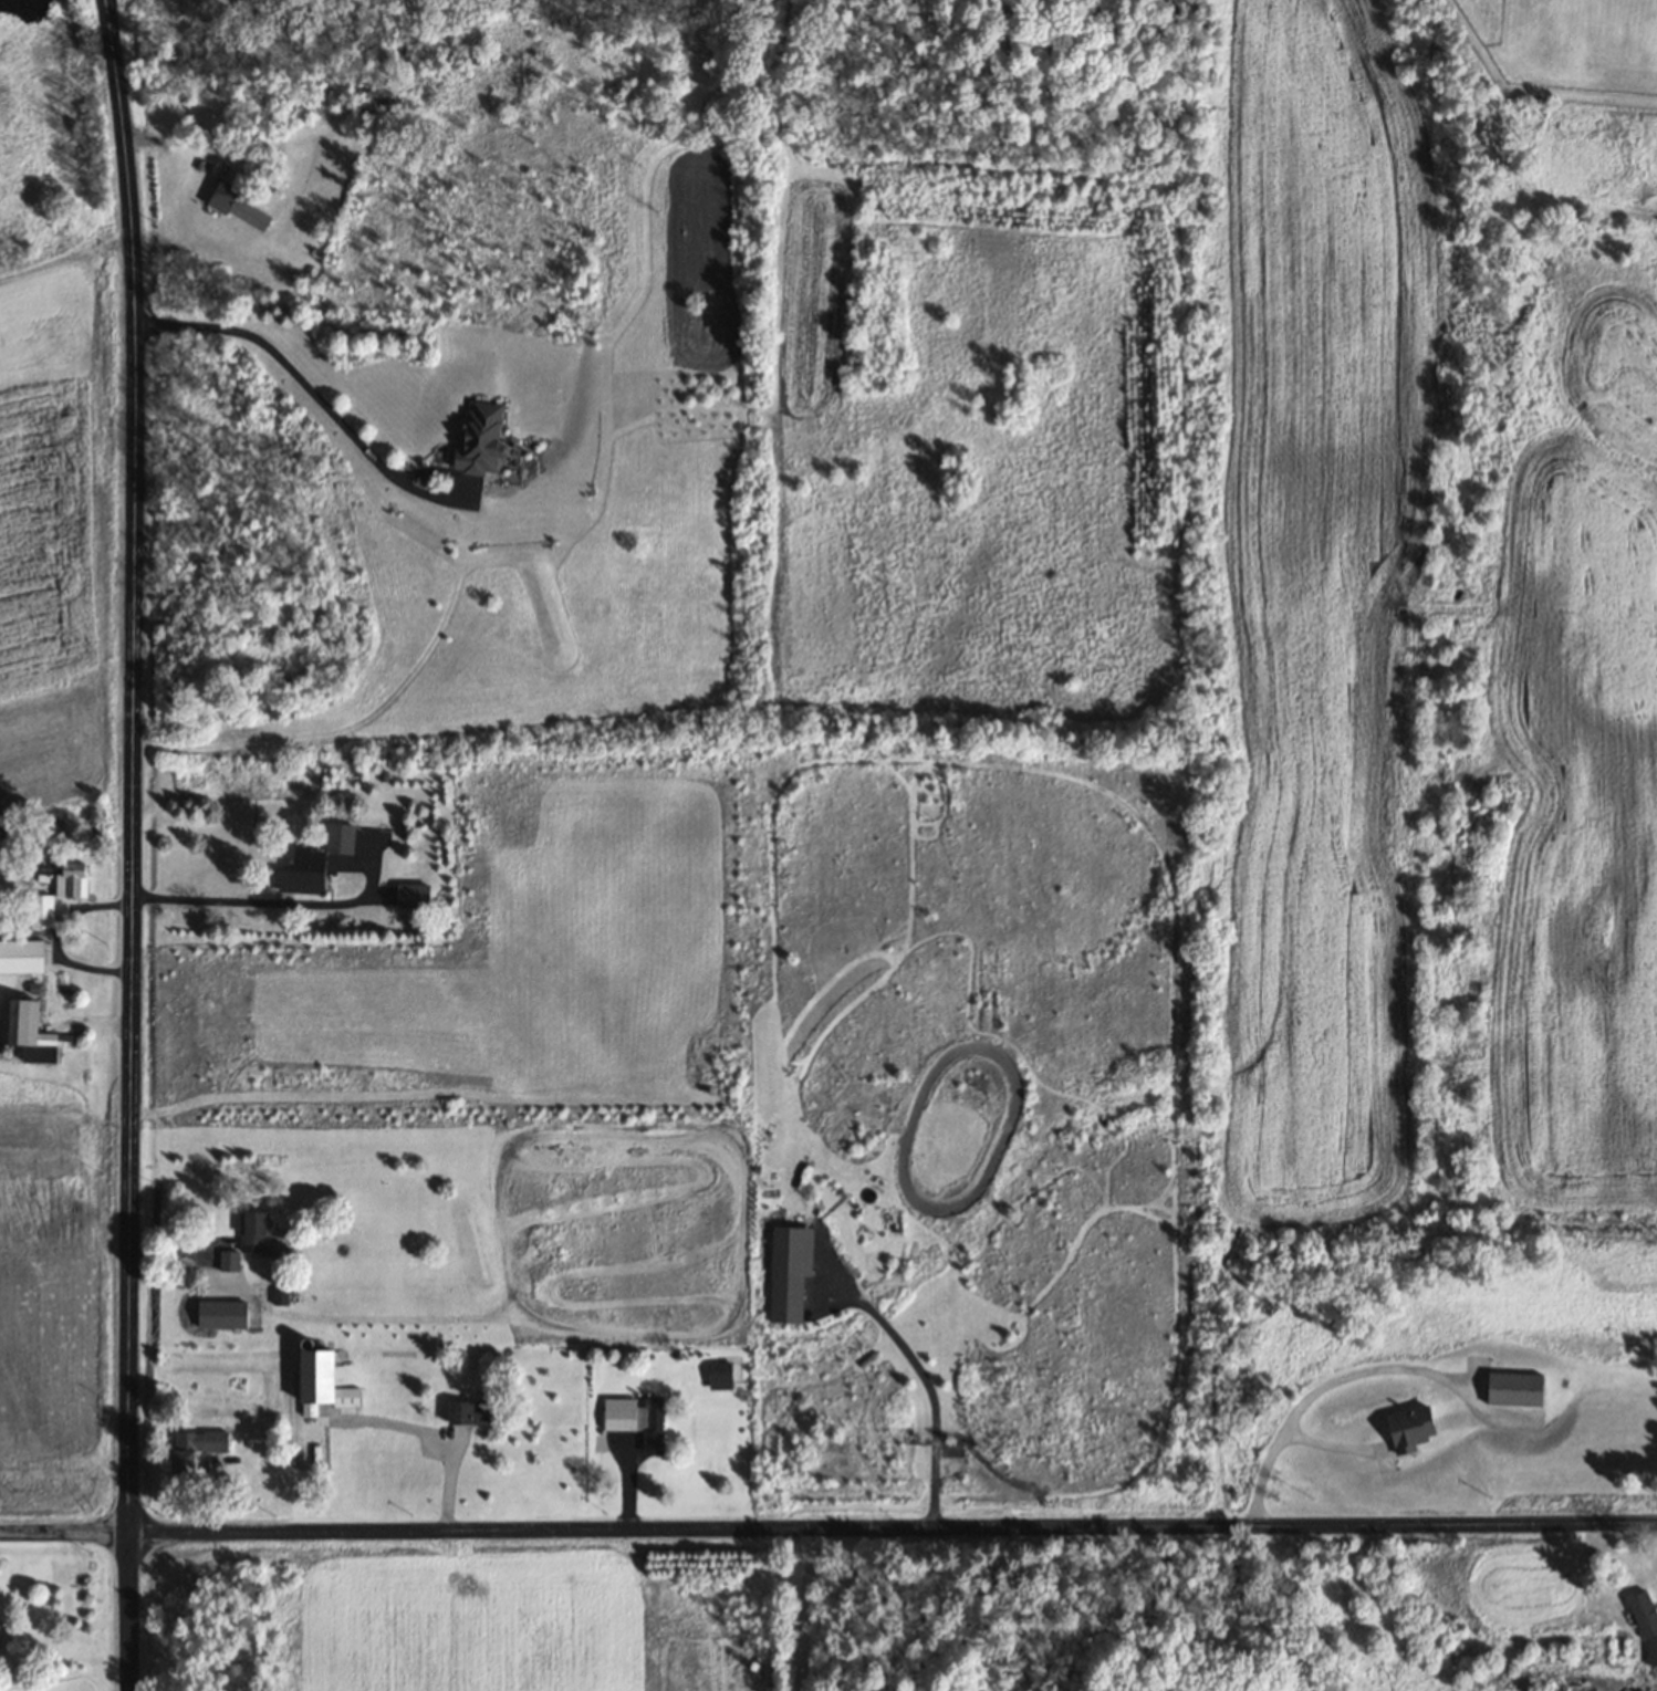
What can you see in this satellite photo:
building: (238, 207)
road: (334, 415)
building: (480, 438)
building: (337, 836)
road: (133, 844)
building: (300, 871)
building: (67, 878)
building: (410, 895)
building: (40, 910)
building: (20, 956)
building: (20, 1023)
building: (251, 1231)
building: (786, 1272)
road: (928, 1388)
building: (1513, 1388)
road: (1302, 1401)
building: (313, 1408)
building: (466, 1412)
building: (628, 1412)
building: (1408, 1429)
building: (192, 1448)
road: (827, 1525)
road: (805, 1607)
building: (1645, 1624)

